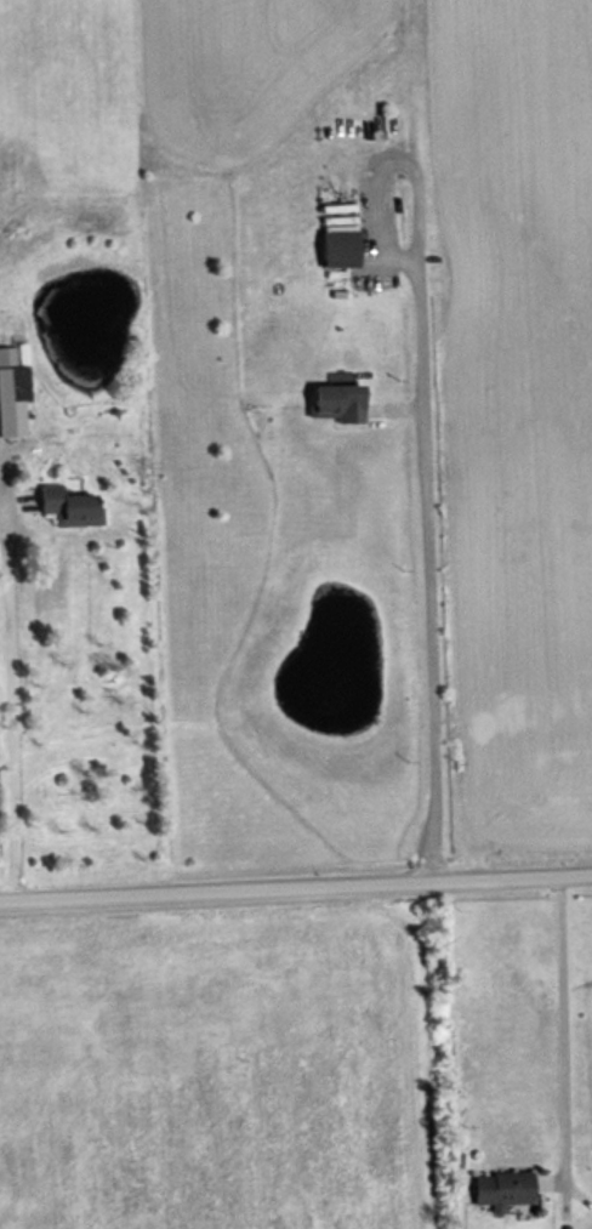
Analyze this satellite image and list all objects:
building: (341, 240)
building: (13, 400)
building: (337, 402)
building: (70, 506)
road: (296, 888)
building: (503, 1188)

